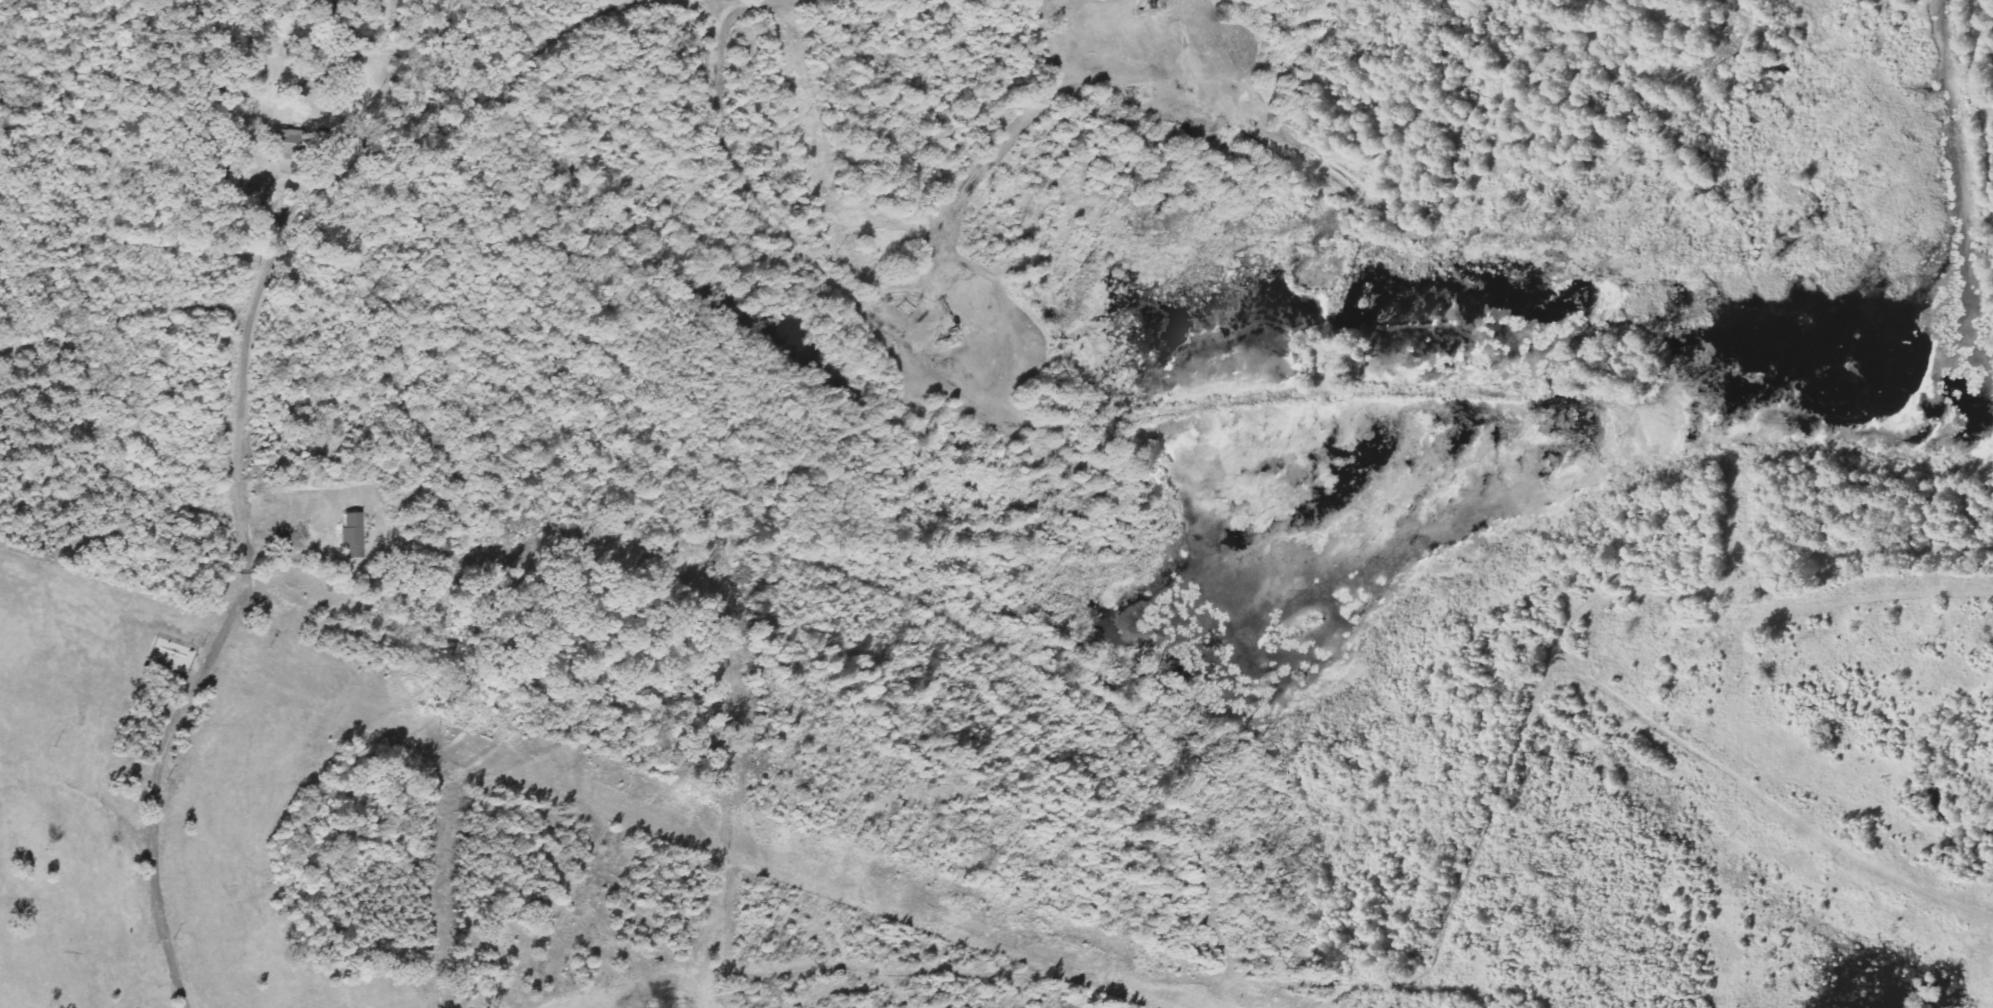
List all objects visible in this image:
building: (293, 147)
road: (124, 316)
road: (246, 344)
building: (354, 538)

